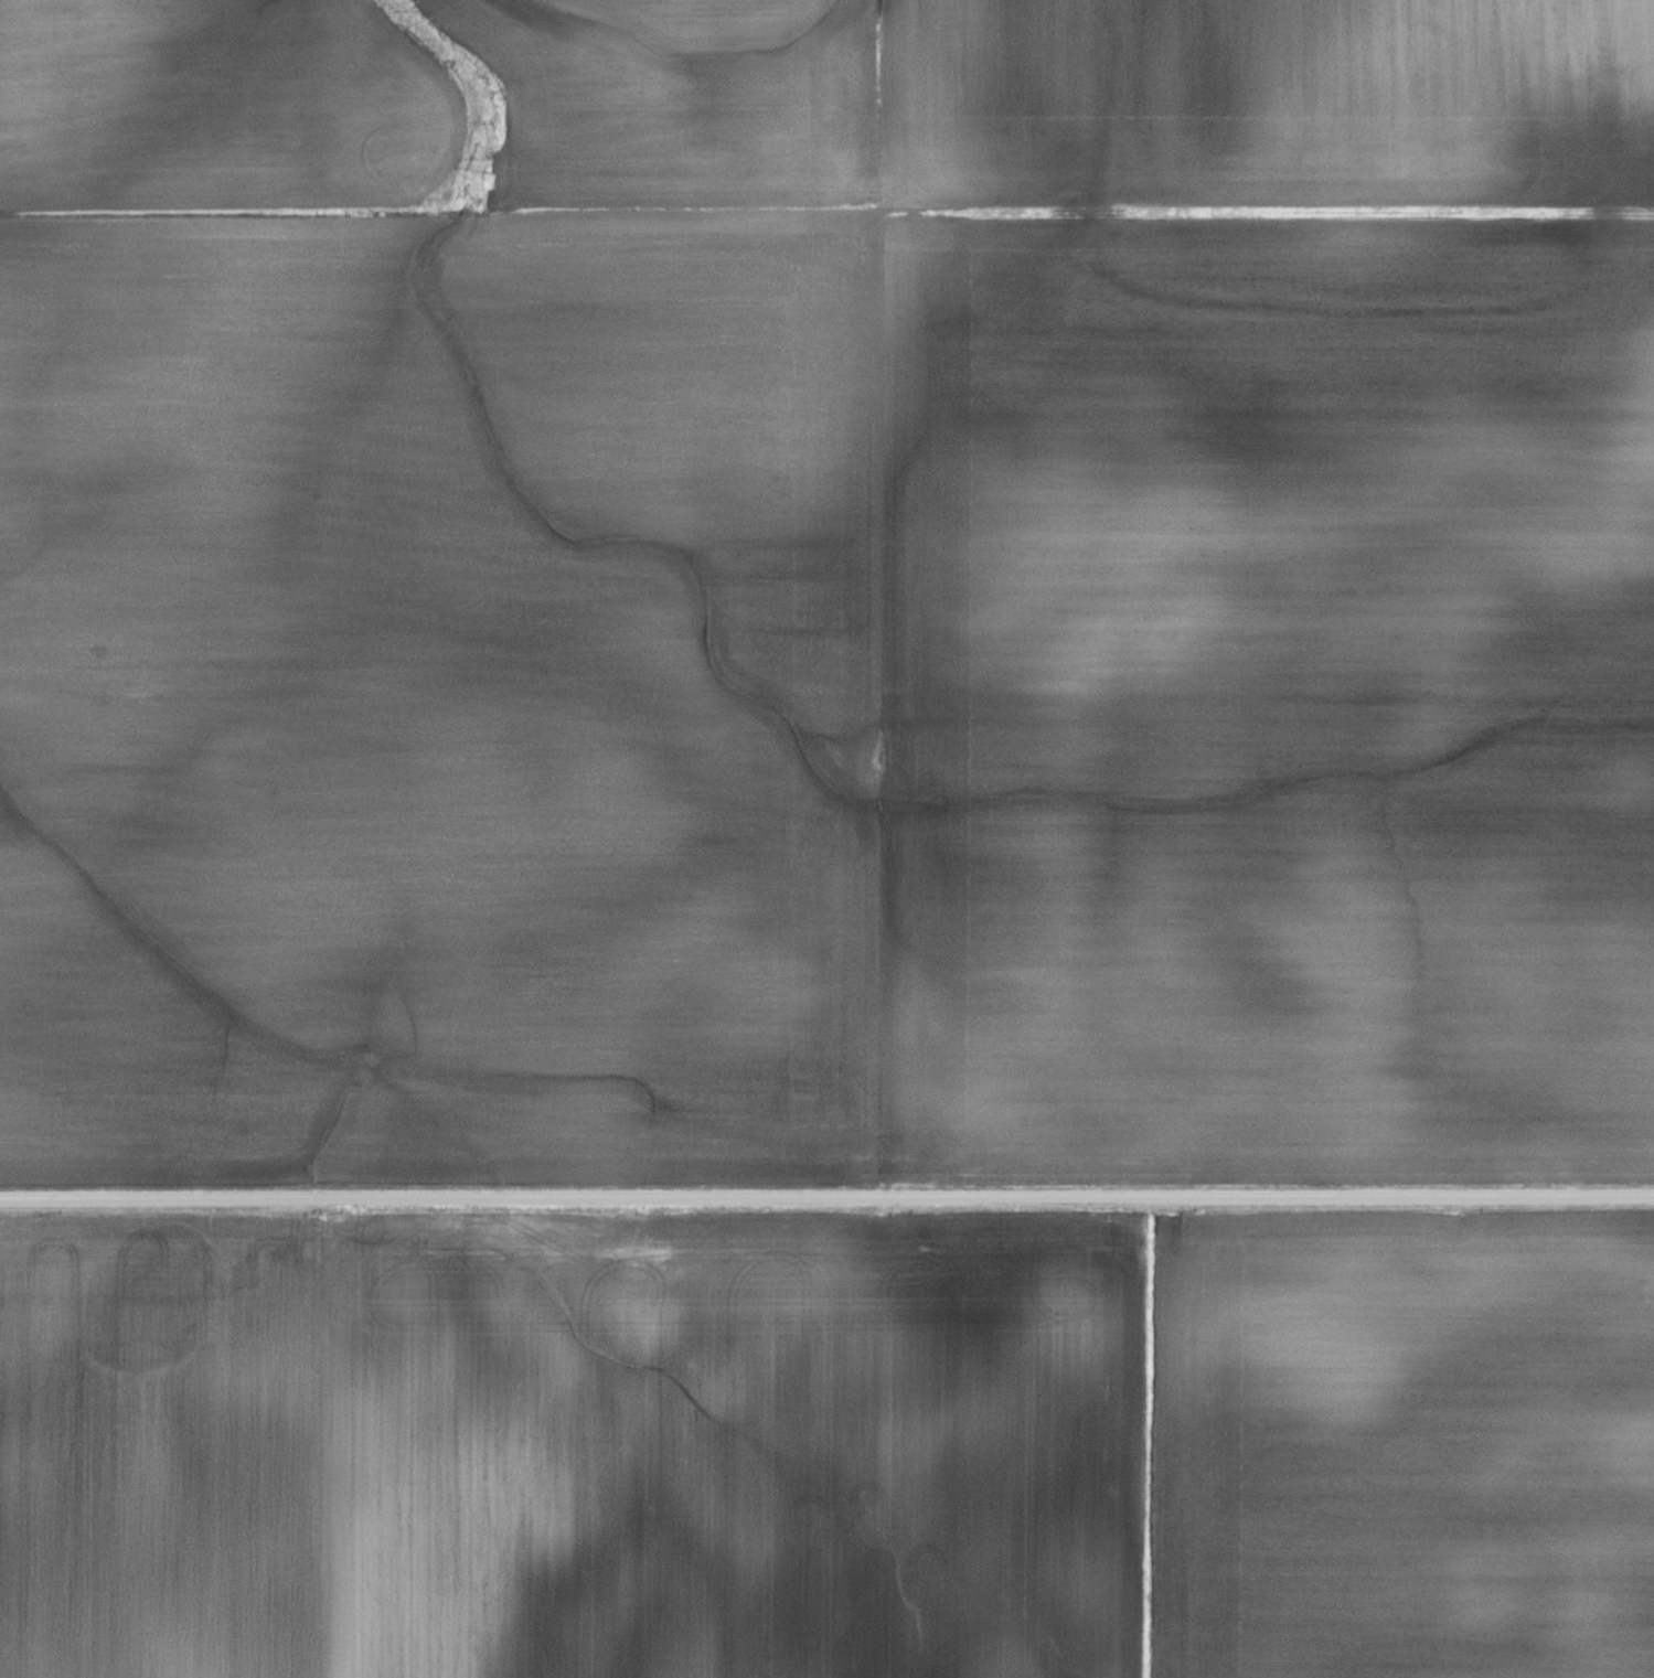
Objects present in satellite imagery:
road: (826, 1198)

